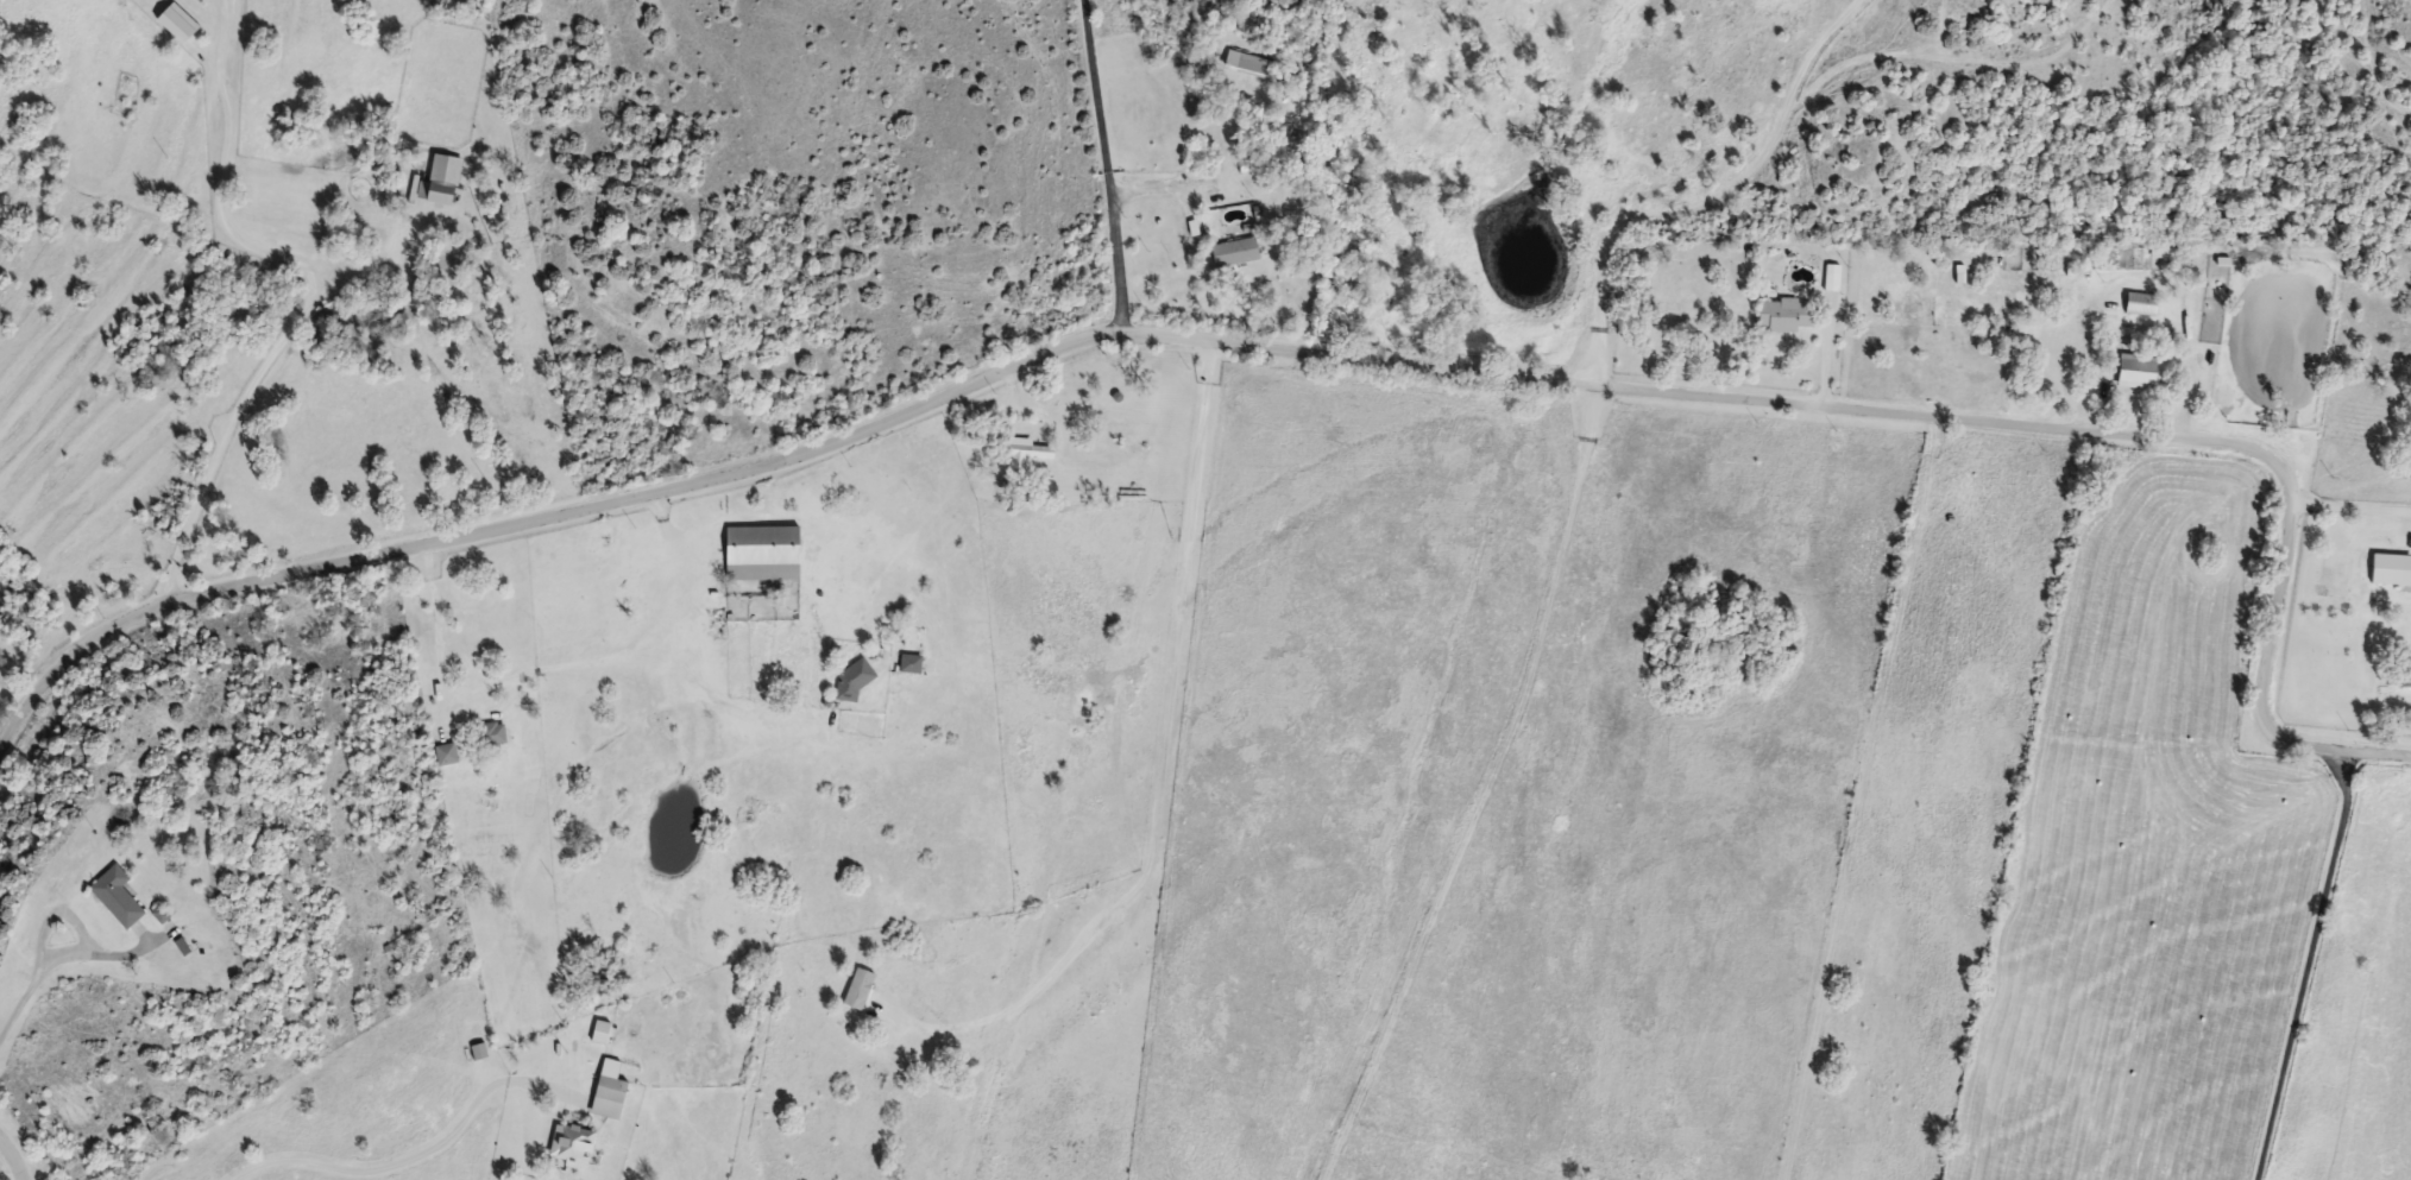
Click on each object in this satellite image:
building: (1249, 68)
road: (1102, 168)
building: (445, 183)
road: (1696, 196)
building: (1229, 254)
road: (313, 290)
building: (1780, 316)
road: (1303, 349)
building: (2132, 372)
building: (1022, 453)
road: (2353, 517)
building: (758, 555)
building: (907, 665)
road: (549, 667)
building: (2401, 673)
building: (850, 680)
building: (493, 738)
building: (451, 757)
road: (1159, 758)
building: (119, 897)
road: (46, 951)
road: (2309, 966)
building: (606, 1091)
building: (569, 1144)
road: (15, 1157)
road: (413, 1159)

